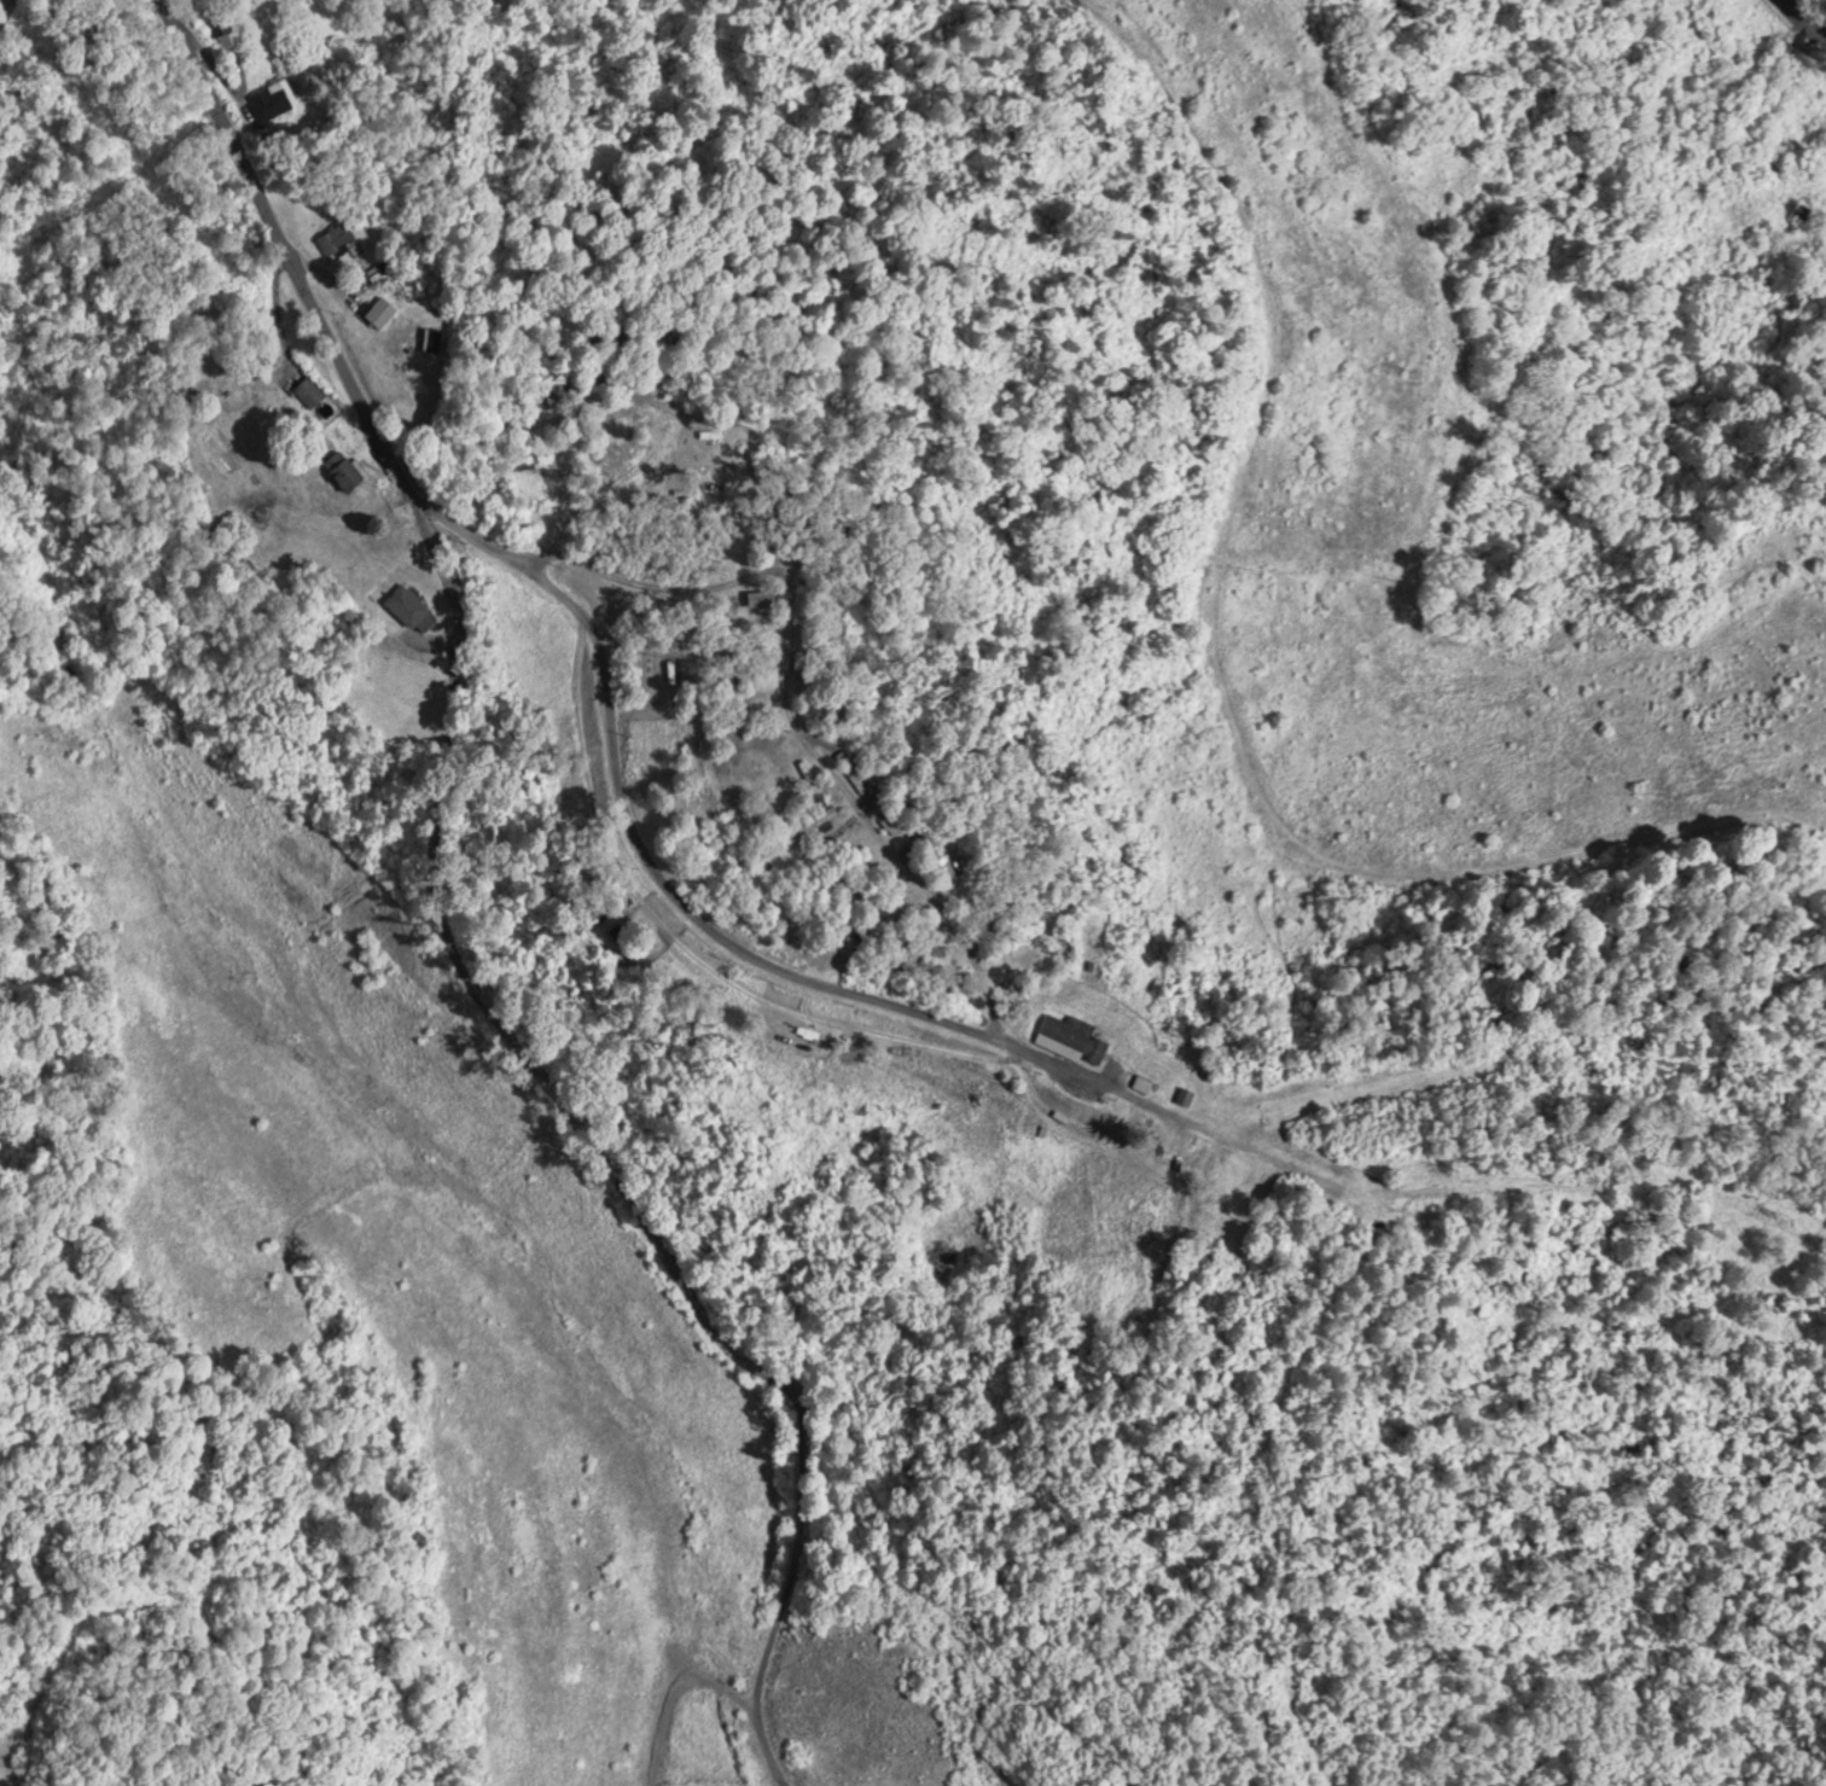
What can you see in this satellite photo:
road: (1808, 17)
building: (272, 98)
building: (1803, 210)
building: (339, 240)
building: (312, 388)
building: (527, 464)
building: (345, 467)
building: (413, 606)
road: (193, 688)
building: (854, 768)
road: (478, 926)
building: (618, 929)
building: (908, 946)
building: (1075, 1035)
building: (1171, 1221)

